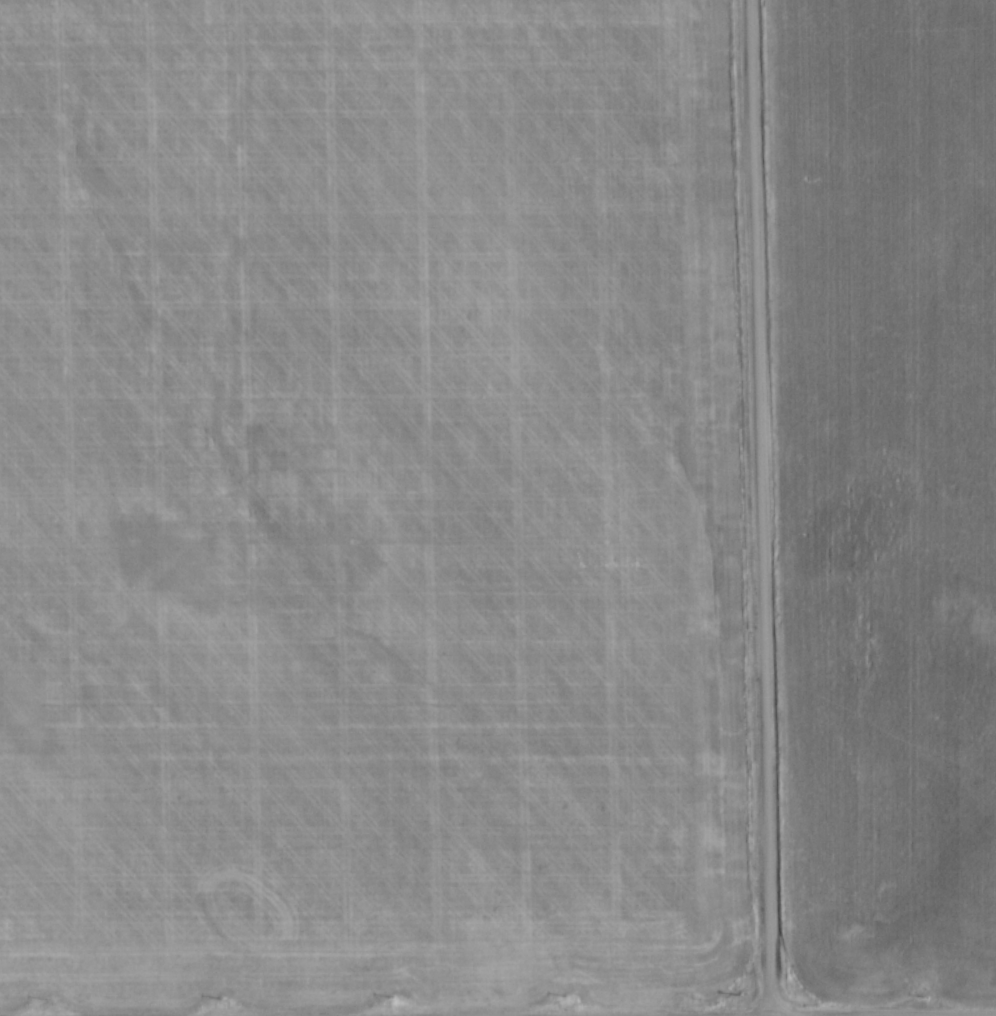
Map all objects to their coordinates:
crop: (884, 490)
crop: (367, 501)
road: (754, 508)

